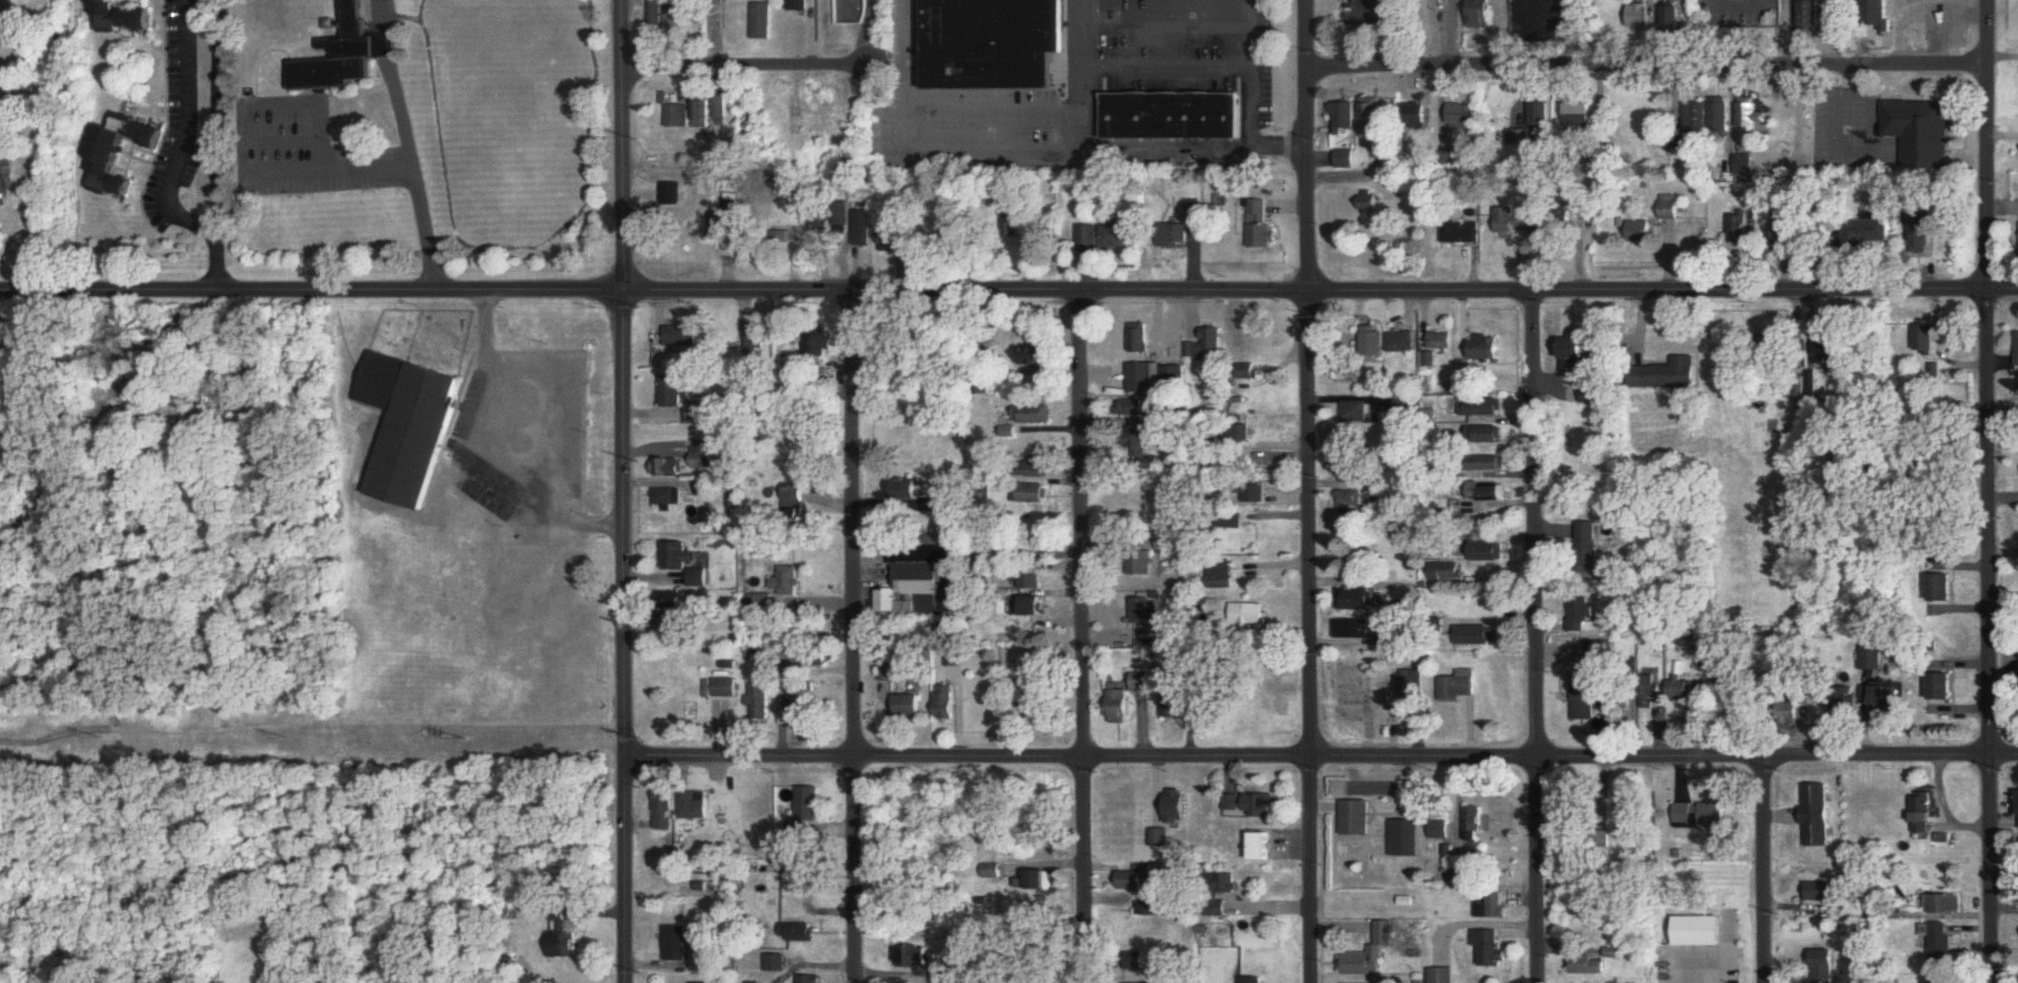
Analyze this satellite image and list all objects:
road: (1735, 0)
building: (798, 5)
road: (1563, 5)
building: (654, 14)
building: (1482, 14)
building: (1809, 16)
building: (1639, 17)
building: (1877, 17)
building: (120, 18)
building: (1672, 19)
building: (2, 20)
building: (760, 22)
road: (871, 35)
building: (996, 44)
building: (345, 57)
road: (1128, 65)
road: (735, 69)
road: (1648, 73)
road: (1243, 97)
road: (1731, 102)
road: (280, 104)
building: (717, 109)
building: (699, 113)
building: (1463, 116)
building: (675, 117)
building: (1173, 117)
building: (1580, 117)
building: (1720, 117)
building: (1751, 117)
building: (1373, 118)
building: (1418, 118)
building: (1697, 118)
building: (1345, 120)
road: (952, 122)
building: (1534, 129)
road: (186, 130)
building: (1919, 133)
road: (217, 145)
building: (92, 151)
building: (4, 178)
road: (412, 183)
building: (669, 195)
building: (1369, 203)
building: (1669, 209)
building: (1516, 221)
building: (839, 223)
building: (819, 224)
building: (717, 226)
building: (860, 229)
building: (1260, 230)
building: (1741, 231)
building: (1787, 232)
building: (1641, 233)
building: (1462, 234)
building: (1866, 234)
building: (777, 236)
building: (1089, 238)
building: (1174, 238)
building: (891, 239)
building: (1116, 239)
building: (1920, 239)
road: (1008, 295)
building: (681, 337)
building: (1925, 339)
building: (1143, 340)
building: (1442, 341)
building: (1400, 343)
building: (758, 344)
building: (1372, 344)
building: (1209, 347)
building: (1486, 349)
building: (818, 351)
building: (2017, 351)
building: (1577, 357)
building: (1035, 358)
building: (1815, 366)
building: (1249, 373)
building: (1668, 375)
building: (1145, 379)
building: (1179, 380)
building: (820, 387)
building: (671, 392)
building: (1593, 395)
building: (1405, 406)
building: (1483, 408)
building: (1146, 411)
building: (696, 413)
building: (1356, 413)
building: (1034, 415)
building: (412, 427)
building: (1241, 434)
building: (1487, 435)
road: (506, 444)
building: (1147, 450)
building: (698, 462)
building: (1487, 464)
building: (1231, 465)
building: (1036, 468)
building: (668, 469)
building: (707, 489)
building: (903, 490)
road: (622, 491)
road: (1309, 491)
road: (1989, 491)
building: (1032, 494)
building: (1489, 494)
building: (1253, 495)
building: (1350, 498)
building: (669, 499)
building: (795, 505)
building: (1589, 548)
building: (1491, 552)
building: (1143, 561)
building: (685, 564)
building: (1447, 573)
building: (1222, 577)
building: (918, 578)
building: (1034, 578)
building: (779, 587)
building: (1943, 590)
building: (1357, 600)
building: (676, 605)
building: (1035, 606)
building: (1143, 611)
building: (1582, 614)
building: (1248, 615)
building: (1354, 630)
building: (1474, 636)
road: (852, 639)
road: (1082, 639)
road: (1534, 640)
building: (1871, 654)
building: (1593, 656)
building: (815, 659)
building: (888, 673)
building: (1141, 682)
building: (1409, 686)
building: (1458, 686)
building: (1943, 687)
building: (725, 689)
building: (1649, 689)
building: (1682, 690)
building: (1875, 696)
building: (1842, 701)
building: (759, 702)
building: (946, 702)
building: (1280, 704)
building: (1584, 704)
building: (1173, 705)
building: (910, 706)
building: (1121, 707)
building: (1791, 709)
building: (793, 711)
road: (1321, 755)
building: (1232, 803)
building: (692, 806)
building: (1177, 807)
building: (1261, 807)
building: (663, 811)
building: (1924, 814)
building: (795, 815)
building: (1817, 815)
building: (1701, 816)
building: (1357, 819)
building: (1626, 819)
building: (1474, 823)
building: (1440, 830)
building: (1601, 837)
building: (1161, 838)
building: (1406, 838)
building: (1261, 847)
building: (993, 871)
road: (1763, 871)
building: (1134, 879)
building: (1040, 880)
building: (1226, 883)
building: (1822, 892)
building: (1949, 904)
building: (1155, 908)
building: (1217, 909)
building: (799, 933)
building: (561, 937)
building: (677, 944)
building: (1941, 944)
building: (1490, 948)
building: (1371, 953)
building: (918, 957)
building: (1140, 962)
building: (778, 963)
building: (1583, 963)
building: (1825, 966)
building: (1442, 975)
building: (811, 979)
building: (1251, 980)
building: (1936, 982)

